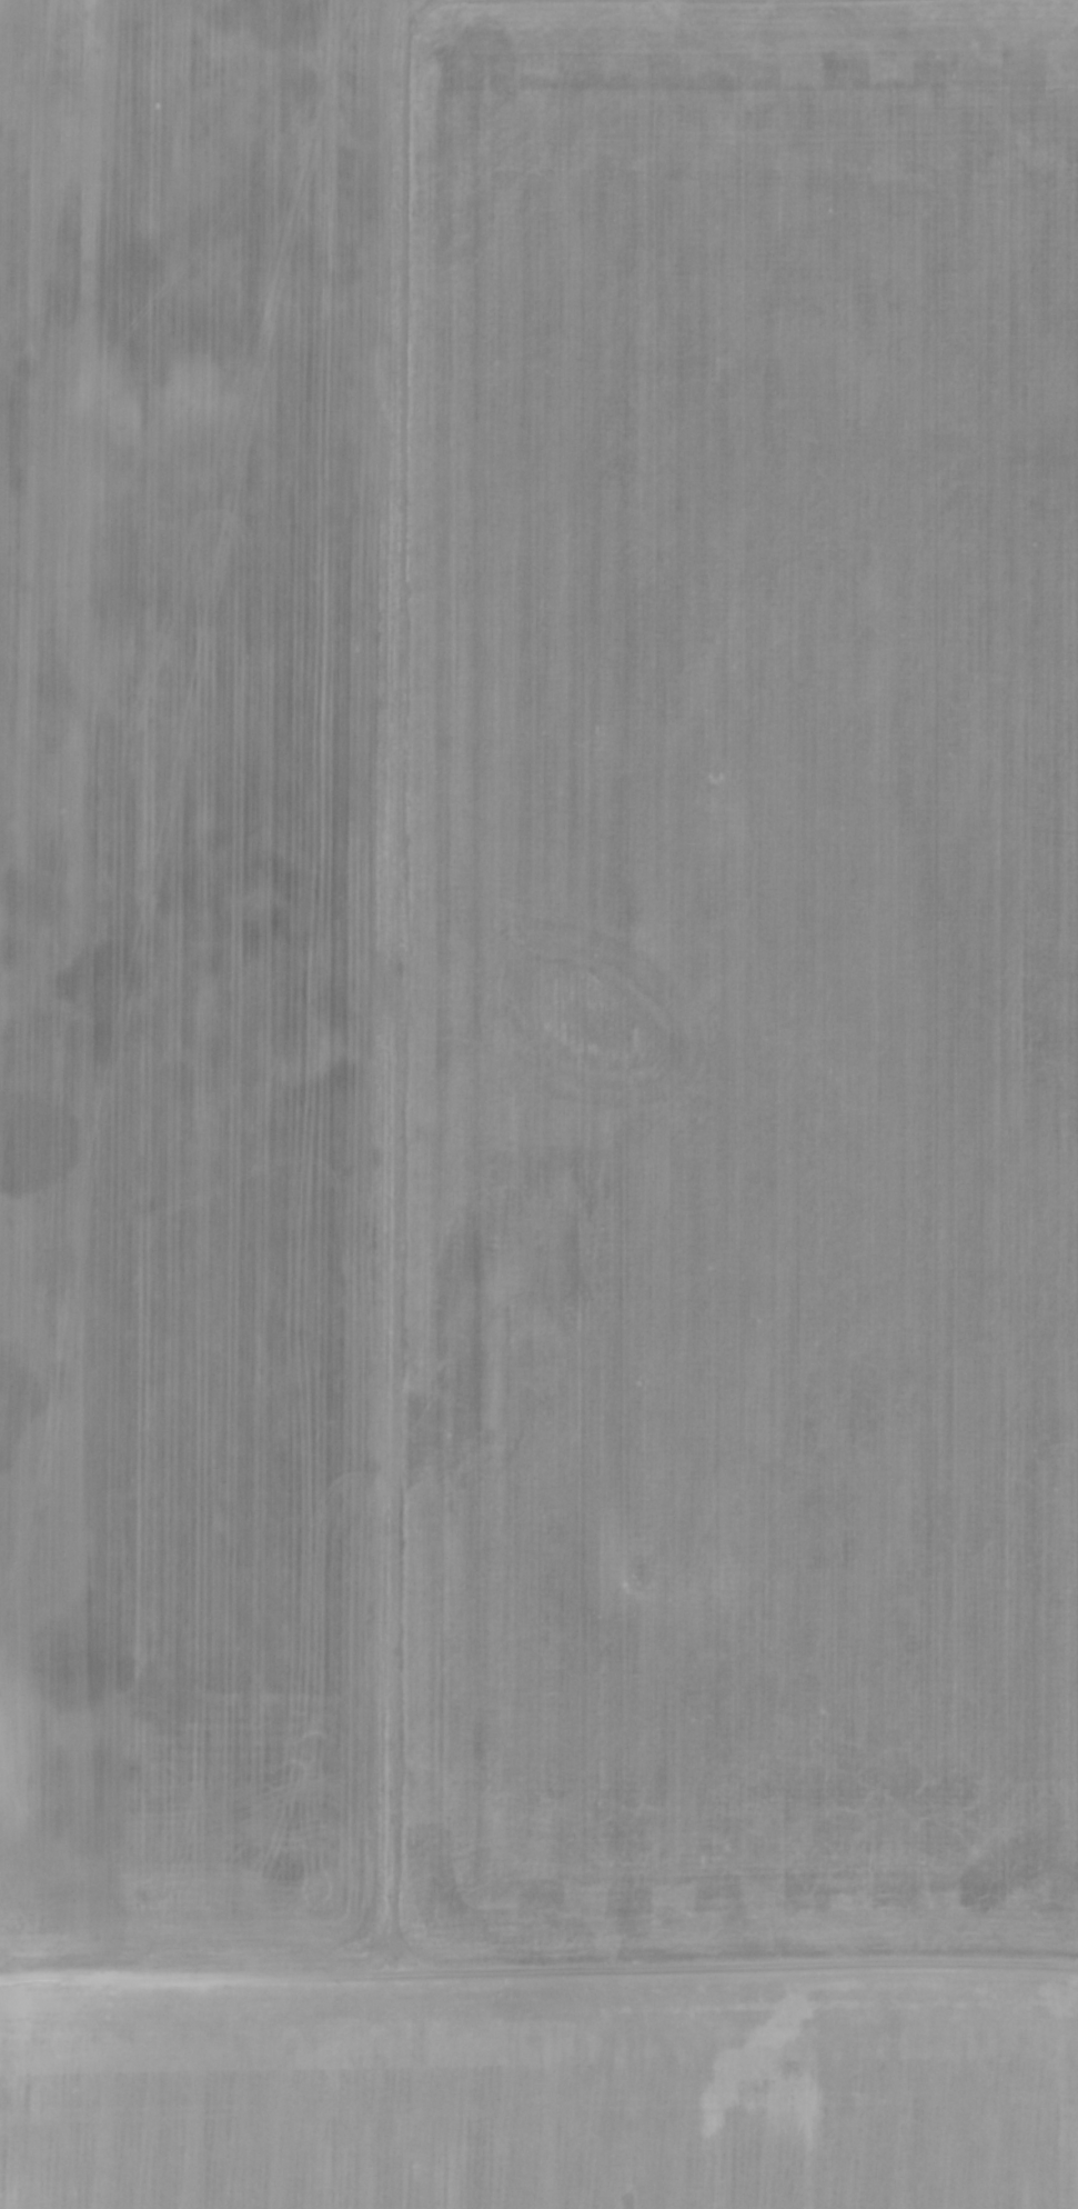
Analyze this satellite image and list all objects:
road: (538, 1978)

